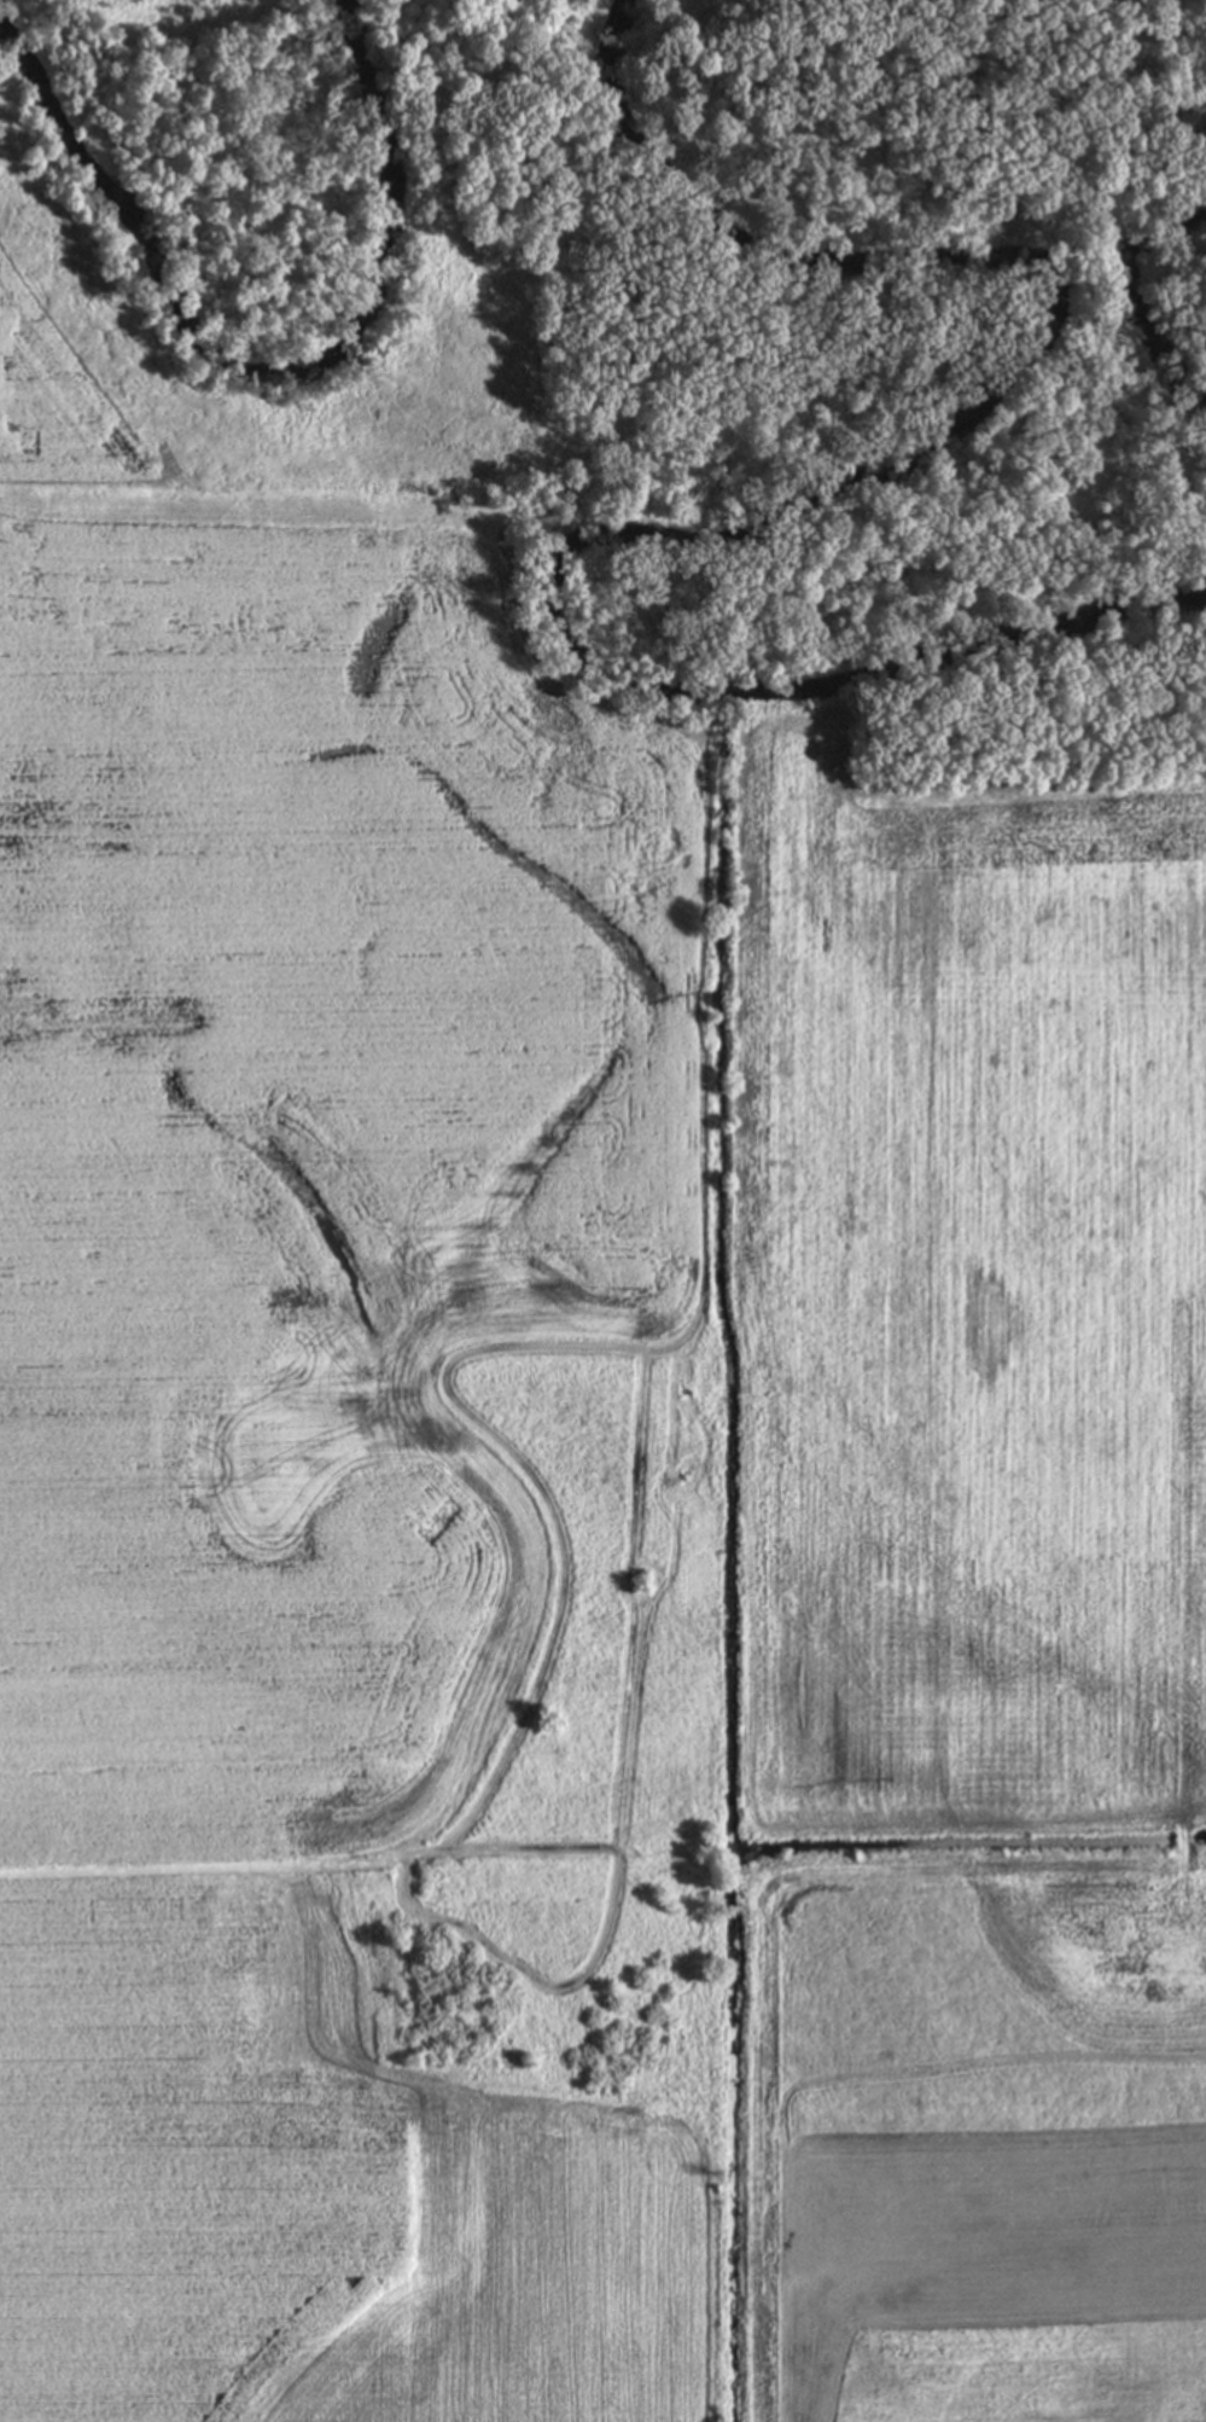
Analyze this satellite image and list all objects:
river: (1136, 304)
river: (263, 370)
river: (759, 501)

